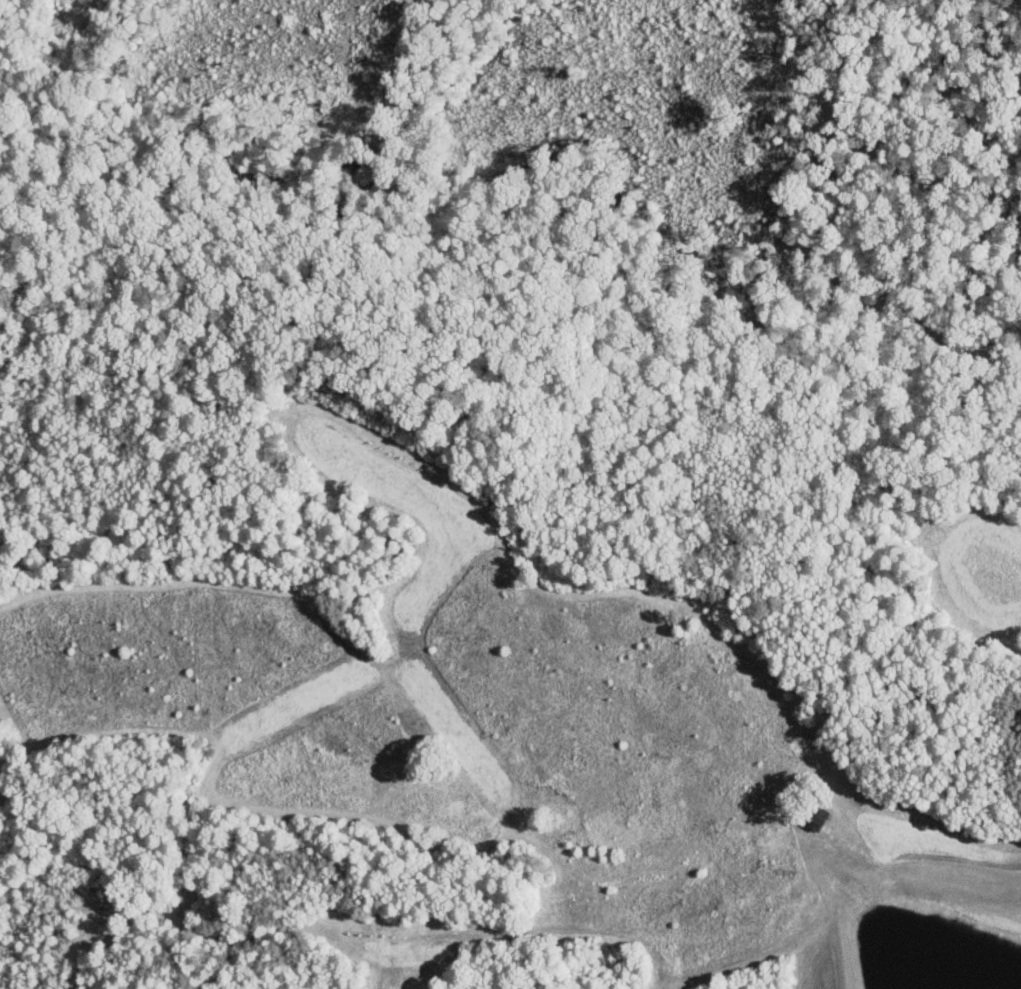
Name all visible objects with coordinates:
road: (959, 858)

